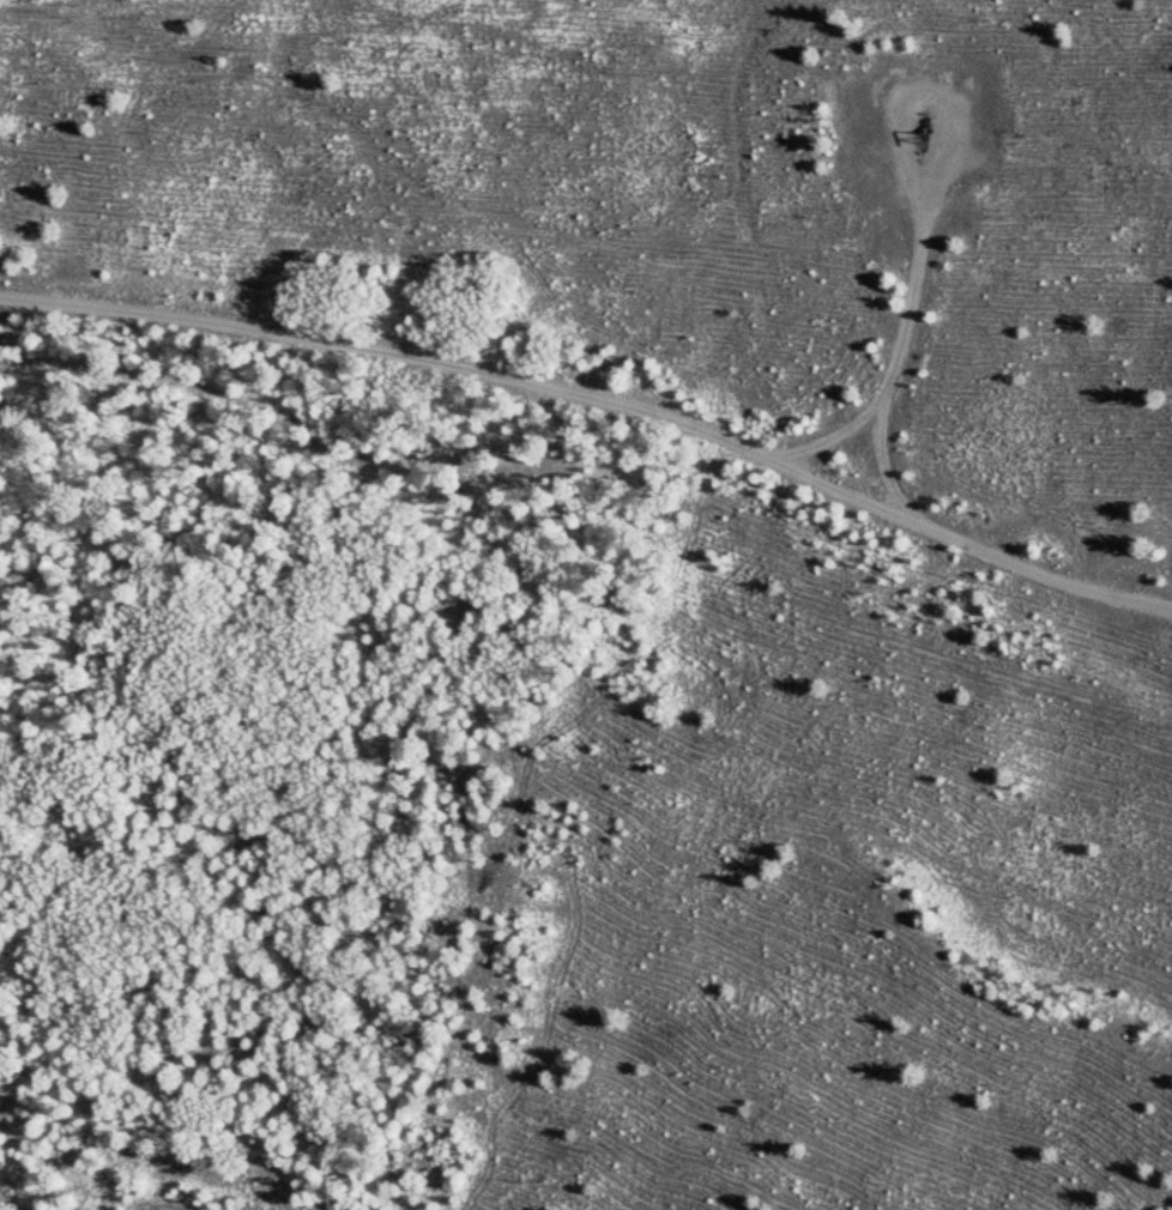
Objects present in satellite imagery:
petroleum well: (917, 139)
road: (899, 359)
road: (600, 398)

